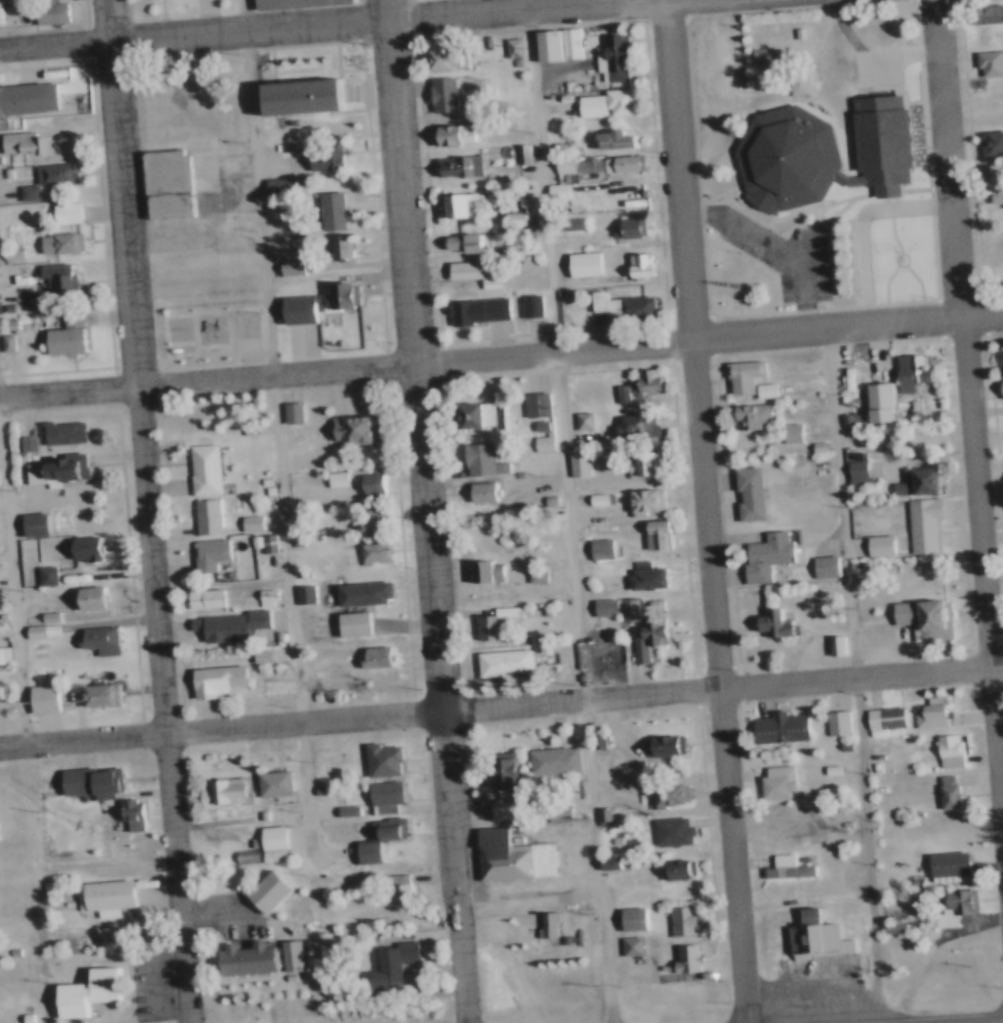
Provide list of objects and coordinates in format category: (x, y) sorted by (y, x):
building: (291, 3)
road: (491, 8)
building: (48, 11)
building: (988, 13)
road: (193, 33)
building: (794, 33)
building: (564, 42)
building: (542, 44)
building: (508, 47)
building: (517, 47)
building: (773, 53)
building: (613, 57)
building: (440, 59)
building: (988, 61)
building: (801, 84)
parking lot: (707, 85)
building: (439, 93)
building: (298, 96)
building: (25, 97)
building: (991, 97)
building: (601, 103)
building: (461, 129)
building: (613, 140)
building: (22, 142)
building: (988, 142)
building: (817, 153)
building: (518, 154)
building: (320, 159)
building: (586, 161)
building: (560, 163)
building: (618, 164)
building: (454, 165)
building: (48, 171)
building: (986, 172)
building: (163, 184)
building: (273, 184)
building: (552, 190)
building: (561, 191)
building: (23, 192)
building: (629, 192)
building: (994, 195)
building: (267, 203)
building: (454, 204)
building: (327, 210)
building: (62, 212)
building: (509, 219)
building: (570, 222)
building: (625, 229)
building: (460, 242)
building: (57, 243)
building: (894, 246)
building: (336, 247)
building: (1000, 247)
building: (8, 253)
parking lot: (768, 254)
building: (579, 264)
building: (285, 265)
building: (636, 265)
building: (458, 269)
building: (54, 278)
building: (485, 281)
building: (293, 305)
building: (526, 305)
building: (619, 306)
building: (473, 309)
building: (4, 321)
park: (202, 331)
park: (238, 334)
building: (62, 335)
building: (2, 340)
road: (708, 341)
building: (996, 360)
building: (907, 371)
building: (738, 375)
road: (968, 375)
building: (646, 379)
road: (207, 383)
building: (999, 388)
building: (760, 389)
building: (615, 392)
building: (873, 399)
building: (530, 403)
building: (286, 411)
building: (296, 411)
building: (476, 414)
building: (744, 416)
building: (578, 419)
building: (535, 423)
building: (631, 425)
building: (56, 429)
building: (351, 429)
road: (282, 431)
building: (786, 432)
building: (794, 433)
building: (20, 440)
building: (537, 441)
building: (32, 443)
building: (546, 443)
building: (814, 446)
building: (476, 458)
building: (572, 463)
building: (642, 463)
building: (582, 464)
building: (52, 466)
building: (197, 467)
building: (850, 467)
building: (259, 470)
building: (258, 478)
building: (330, 478)
building: (914, 481)
building: (367, 485)
building: (262, 488)
building: (476, 490)
building: (744, 493)
building: (543, 497)
building: (595, 497)
building: (641, 501)
building: (262, 504)
road: (149, 511)
road: (427, 511)
road: (573, 511)
road: (710, 511)
building: (200, 513)
building: (26, 520)
building: (243, 520)
building: (370, 521)
building: (255, 522)
building: (918, 523)
building: (651, 533)
building: (249, 538)
building: (261, 540)
building: (272, 542)
building: (77, 543)
building: (874, 543)
building: (594, 546)
building: (90, 547)
building: (212, 548)
building: (605, 548)
building: (369, 551)
building: (762, 553)
road: (14, 556)
building: (819, 565)
building: (883, 567)
building: (36, 570)
building: (481, 572)
building: (530, 572)
building: (52, 574)
building: (540, 574)
building: (642, 577)
building: (297, 592)
building: (81, 593)
building: (259, 593)
building: (309, 593)
building: (360, 593)
building: (199, 595)
building: (271, 596)
building: (96, 597)
building: (648, 601)
building: (600, 605)
building: (623, 606)
building: (538, 608)
building: (40, 611)
building: (921, 616)
building: (491, 620)
building: (222, 622)
building: (348, 622)
building: (42, 623)
building: (768, 623)
building: (25, 626)
building: (47, 630)
building: (271, 633)
building: (92, 635)
building: (644, 636)
building: (839, 644)
building: (831, 645)
building: (597, 650)
building: (255, 653)
building: (370, 655)
building: (496, 660)
building: (208, 676)
road: (858, 677)
road: (724, 689)
building: (92, 690)
building: (35, 693)
building: (922, 711)
building: (877, 716)
building: (832, 721)
building: (773, 725)
road: (222, 731)
building: (658, 745)
building: (941, 748)
building: (953, 750)
building: (375, 757)
building: (546, 758)
building: (826, 767)
building: (82, 775)
building: (499, 775)
building: (266, 780)
building: (771, 780)
building: (311, 786)
building: (213, 788)
building: (940, 788)
building: (663, 791)
building: (952, 791)
building: (637, 792)
building: (379, 795)
building: (122, 807)
building: (137, 808)
building: (340, 808)
building: (497, 809)
building: (253, 810)
building: (552, 810)
building: (596, 813)
building: (611, 815)
building: (769, 815)
building: (839, 820)
building: (781, 821)
building: (666, 828)
building: (373, 836)
building: (245, 837)
building: (609, 837)
building: (278, 838)
building: (265, 839)
building: (838, 846)
building: (237, 850)
building: (506, 856)
building: (941, 861)
building: (779, 864)
building: (674, 869)
building: (37, 880)
building: (260, 887)
building: (393, 887)
building: (54, 889)
building: (94, 889)
road: (532, 891)
building: (956, 898)
building: (625, 916)
building: (676, 918)
building: (636, 919)
building: (887, 922)
building: (542, 923)
building: (552, 926)
building: (810, 935)
building: (624, 943)
building: (635, 945)
building: (282, 950)
building: (295, 954)
building: (238, 955)
building: (680, 957)
building: (387, 962)
building: (280, 972)
building: (76, 986)
building: (92, 993)
building: (15, 1010)
building: (243, 1020)
road: (995, 1022)

